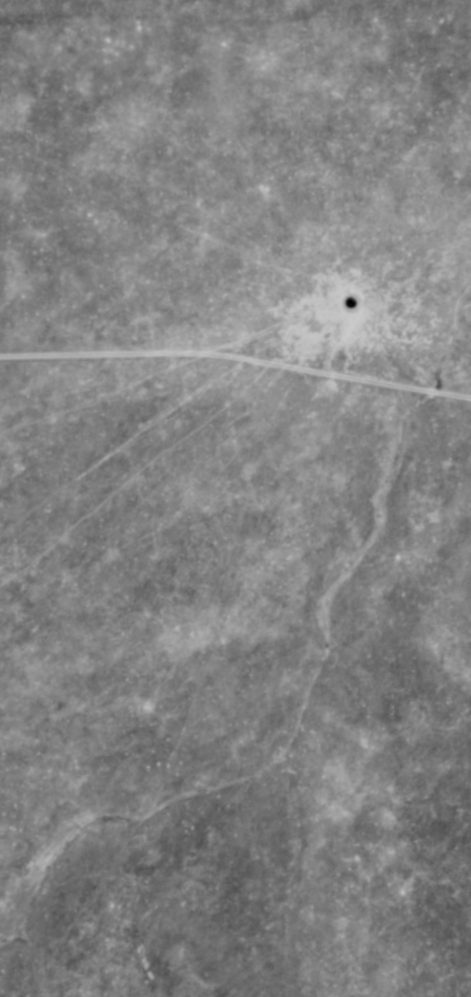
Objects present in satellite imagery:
road: (237, 357)

